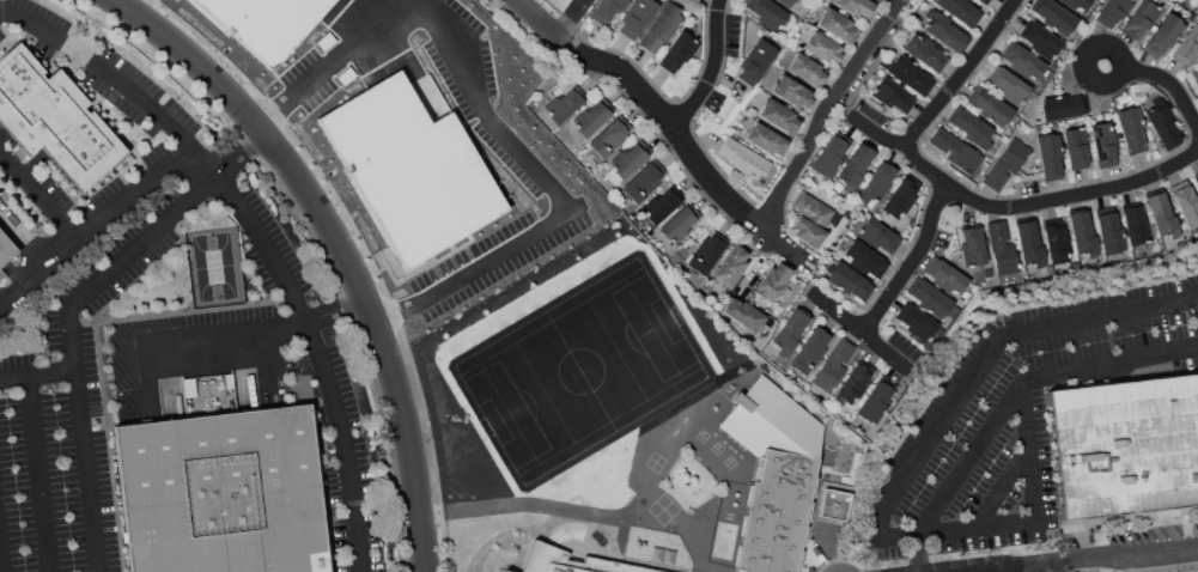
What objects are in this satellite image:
building: (880, 0)
building: (676, 1)
building: (984, 1)
building: (786, 2)
building: (1075, 4)
building: (857, 7)
building: (608, 8)
building: (960, 11)
building: (1113, 11)
building: (767, 12)
building: (1056, 16)
building: (637, 17)
building: (1141, 18)
road: (573, 19)
road: (542, 23)
building: (838, 25)
building: (662, 26)
building: (945, 32)
building: (1163, 35)
building: (1041, 39)
building: (1187, 44)
building: (823, 48)
building: (677, 51)
building: (925, 51)
building: (1022, 60)
road: (336, 61)
building: (755, 62)
road: (714, 69)
building: (807, 69)
road: (966, 72)
building: (910, 75)
road: (1162, 78)
building: (1197, 80)
building: (1009, 86)
building: (791, 92)
building: (892, 95)
building: (566, 104)
building: (990, 107)
building: (1063, 107)
road: (826, 112)
building: (592, 116)
building: (779, 116)
building: (53, 120)
building: (1163, 126)
building: (971, 127)
building: (1130, 129)
road: (677, 130)
building: (610, 136)
building: (766, 139)
building: (1103, 145)
building: (1076, 146)
building: (956, 151)
road: (238, 152)
building: (1048, 153)
building: (829, 157)
building: (743, 158)
building: (627, 162)
building: (1007, 163)
building: (855, 166)
building: (644, 181)
building: (1197, 181)
building: (877, 182)
road: (549, 193)
building: (901, 196)
road: (39, 197)
building: (662, 203)
building: (1186, 206)
road: (1011, 207)
building: (814, 209)
building: (1161, 214)
building: (680, 223)
building: (1136, 225)
road: (93, 229)
building: (809, 232)
building: (1082, 233)
building: (1109, 233)
building: (878, 235)
road: (261, 237)
building: (1028, 239)
road: (140, 241)
building: (1056, 243)
building: (6, 247)
road: (342, 247)
building: (972, 247)
building: (1002, 248)
building: (706, 254)
building: (864, 258)
road: (916, 262)
building: (731, 264)
park: (214, 266)
building: (944, 275)
building: (849, 280)
building: (773, 282)
building: (930, 298)
road: (337, 310)
building: (743, 314)
road: (1101, 316)
building: (918, 322)
road: (225, 331)
road: (865, 331)
building: (790, 333)
building: (810, 349)
road: (1113, 363)
building: (833, 365)
road: (37, 373)
building: (856, 381)
building: (875, 402)
building: (772, 421)
road: (934, 433)
road: (83, 439)
building: (1125, 445)
road: (1030, 451)
road: (975, 455)
road: (39, 474)
road: (1004, 487)
building: (226, 493)
road: (517, 504)
building: (835, 504)
building: (776, 513)
road: (957, 528)
road: (917, 553)
road: (1143, 553)
road: (1, 556)
building: (572, 562)
road: (1038, 566)
building: (506, 571)

